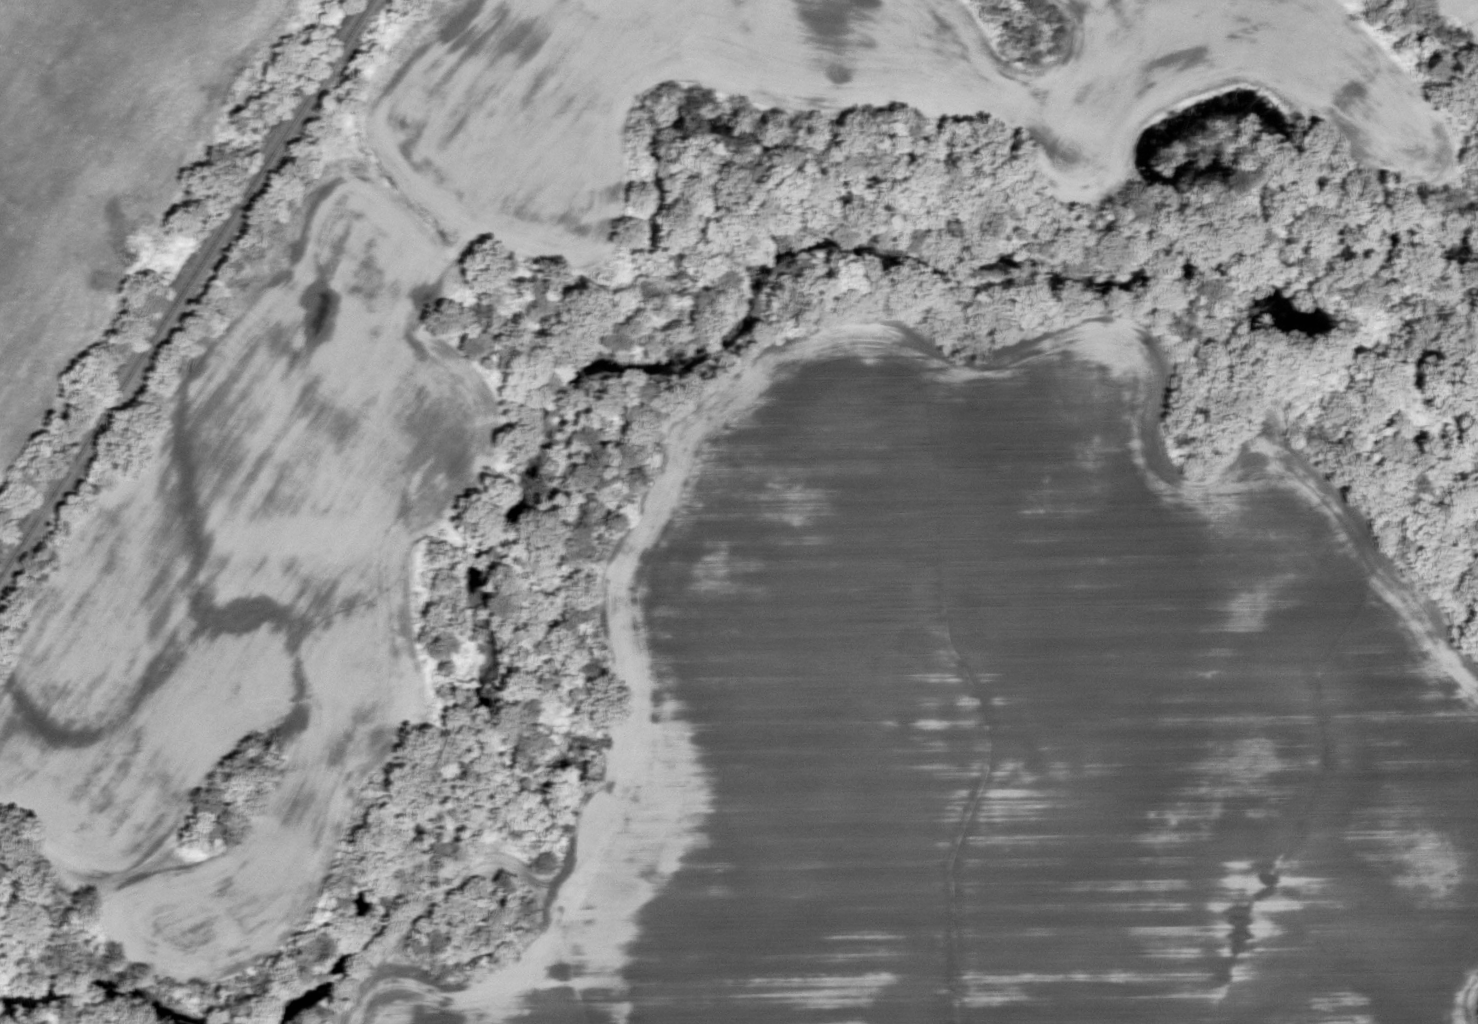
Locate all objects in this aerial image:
railway: (186, 284)
road: (216, 562)

